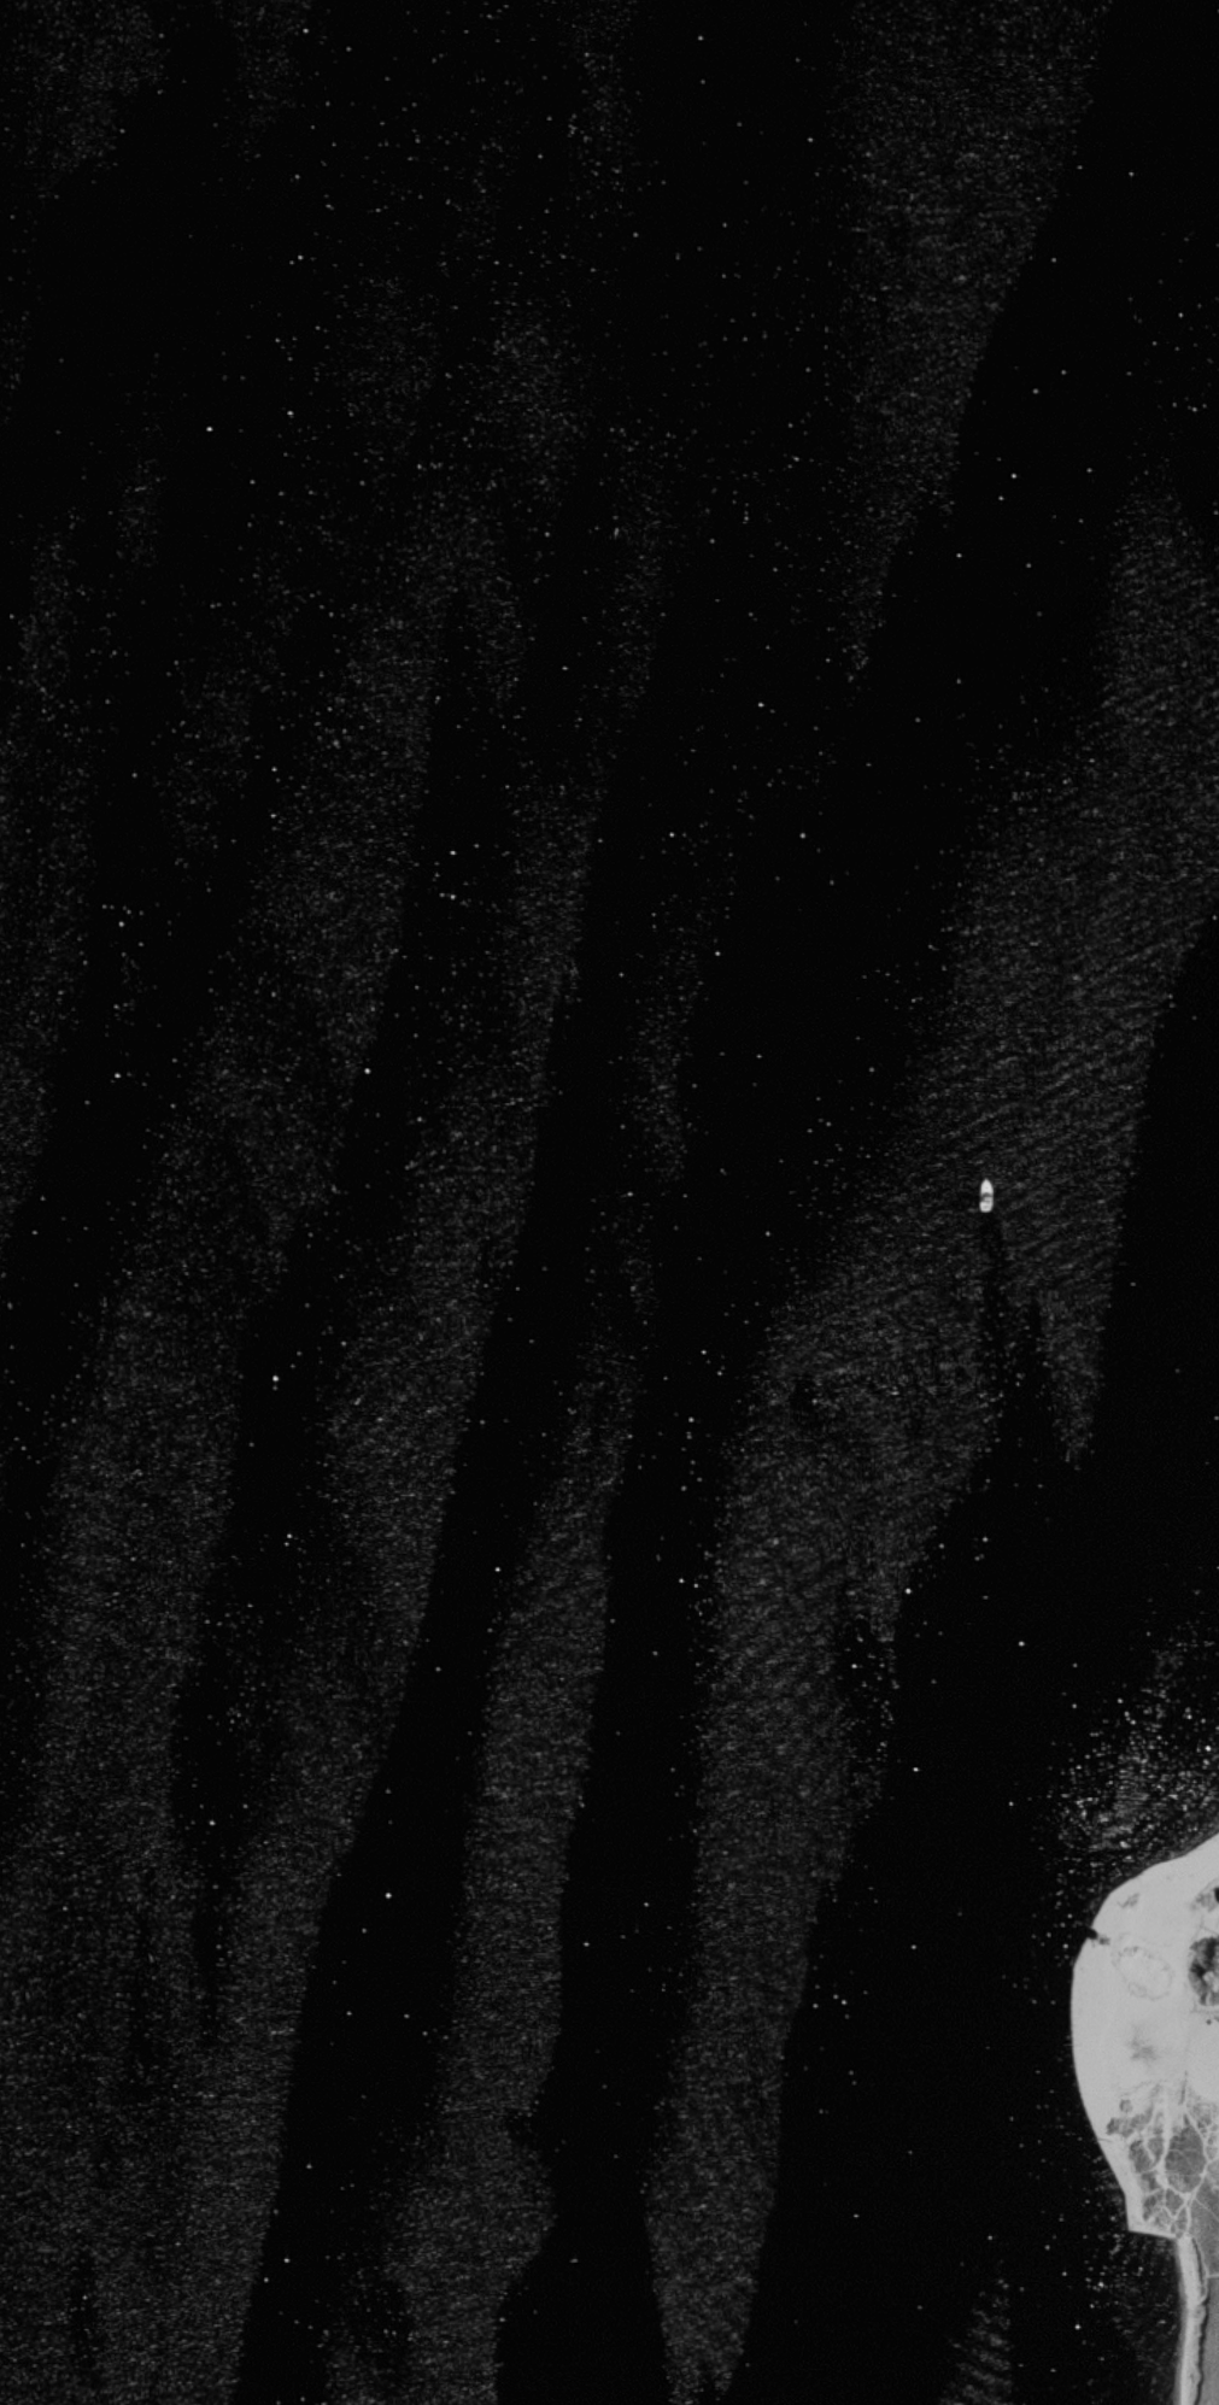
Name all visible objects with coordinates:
park: (1156, 2025)

